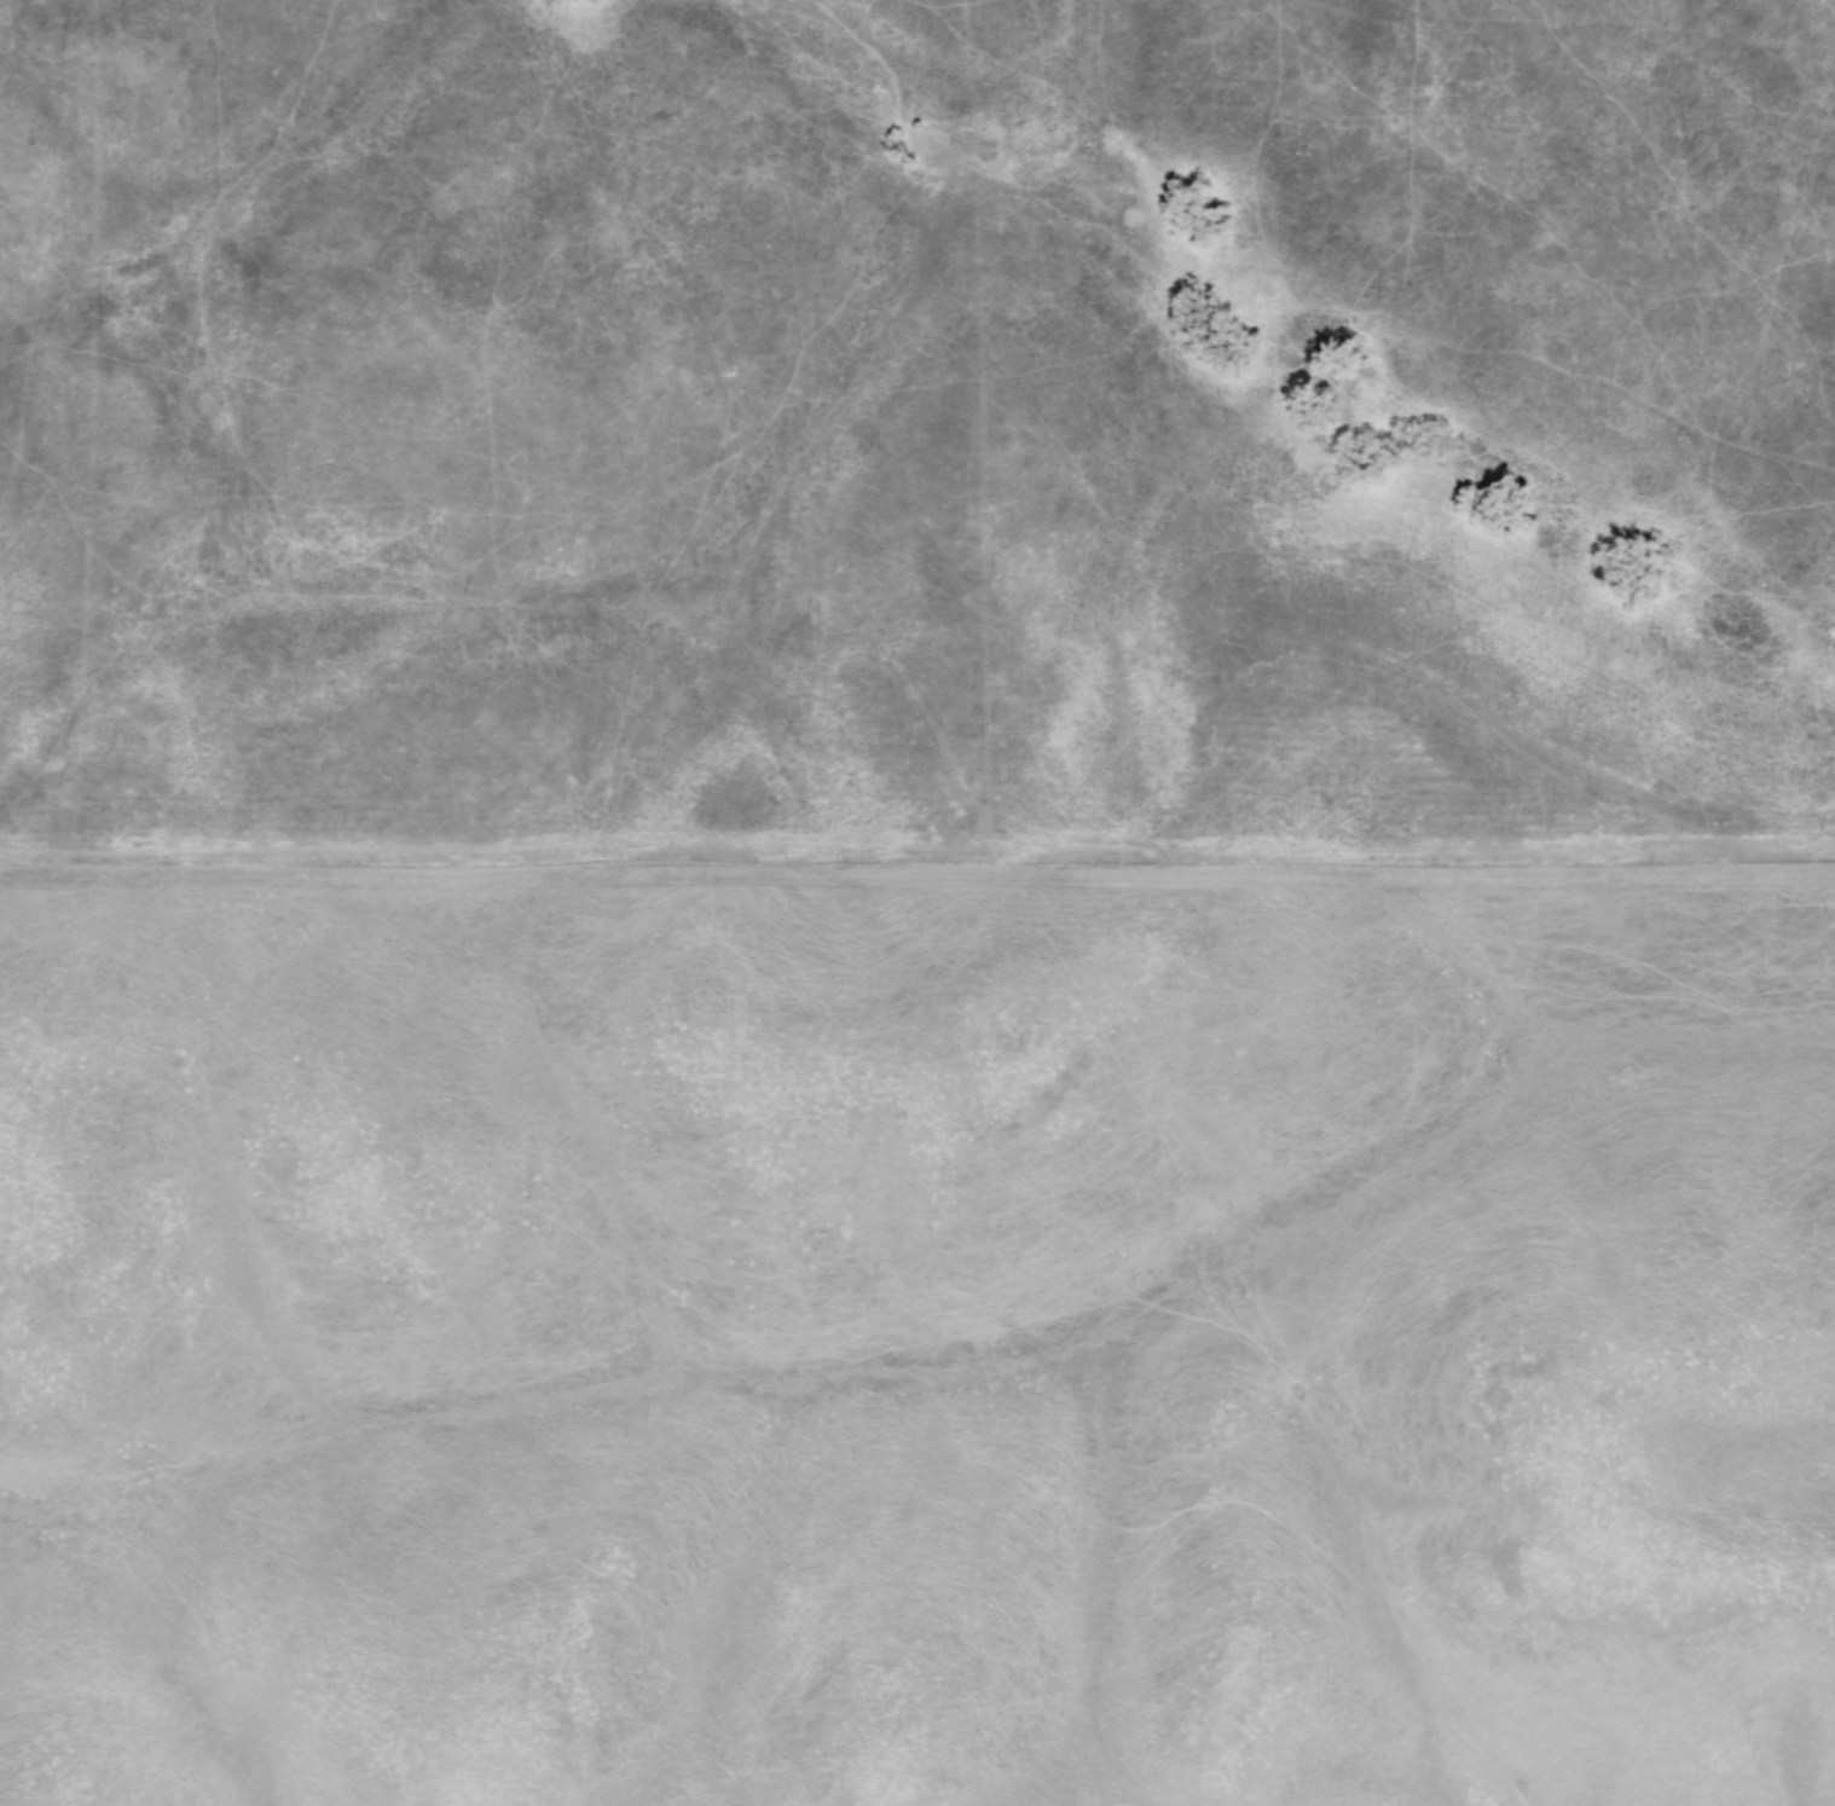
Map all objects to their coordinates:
road: (917, 875)

